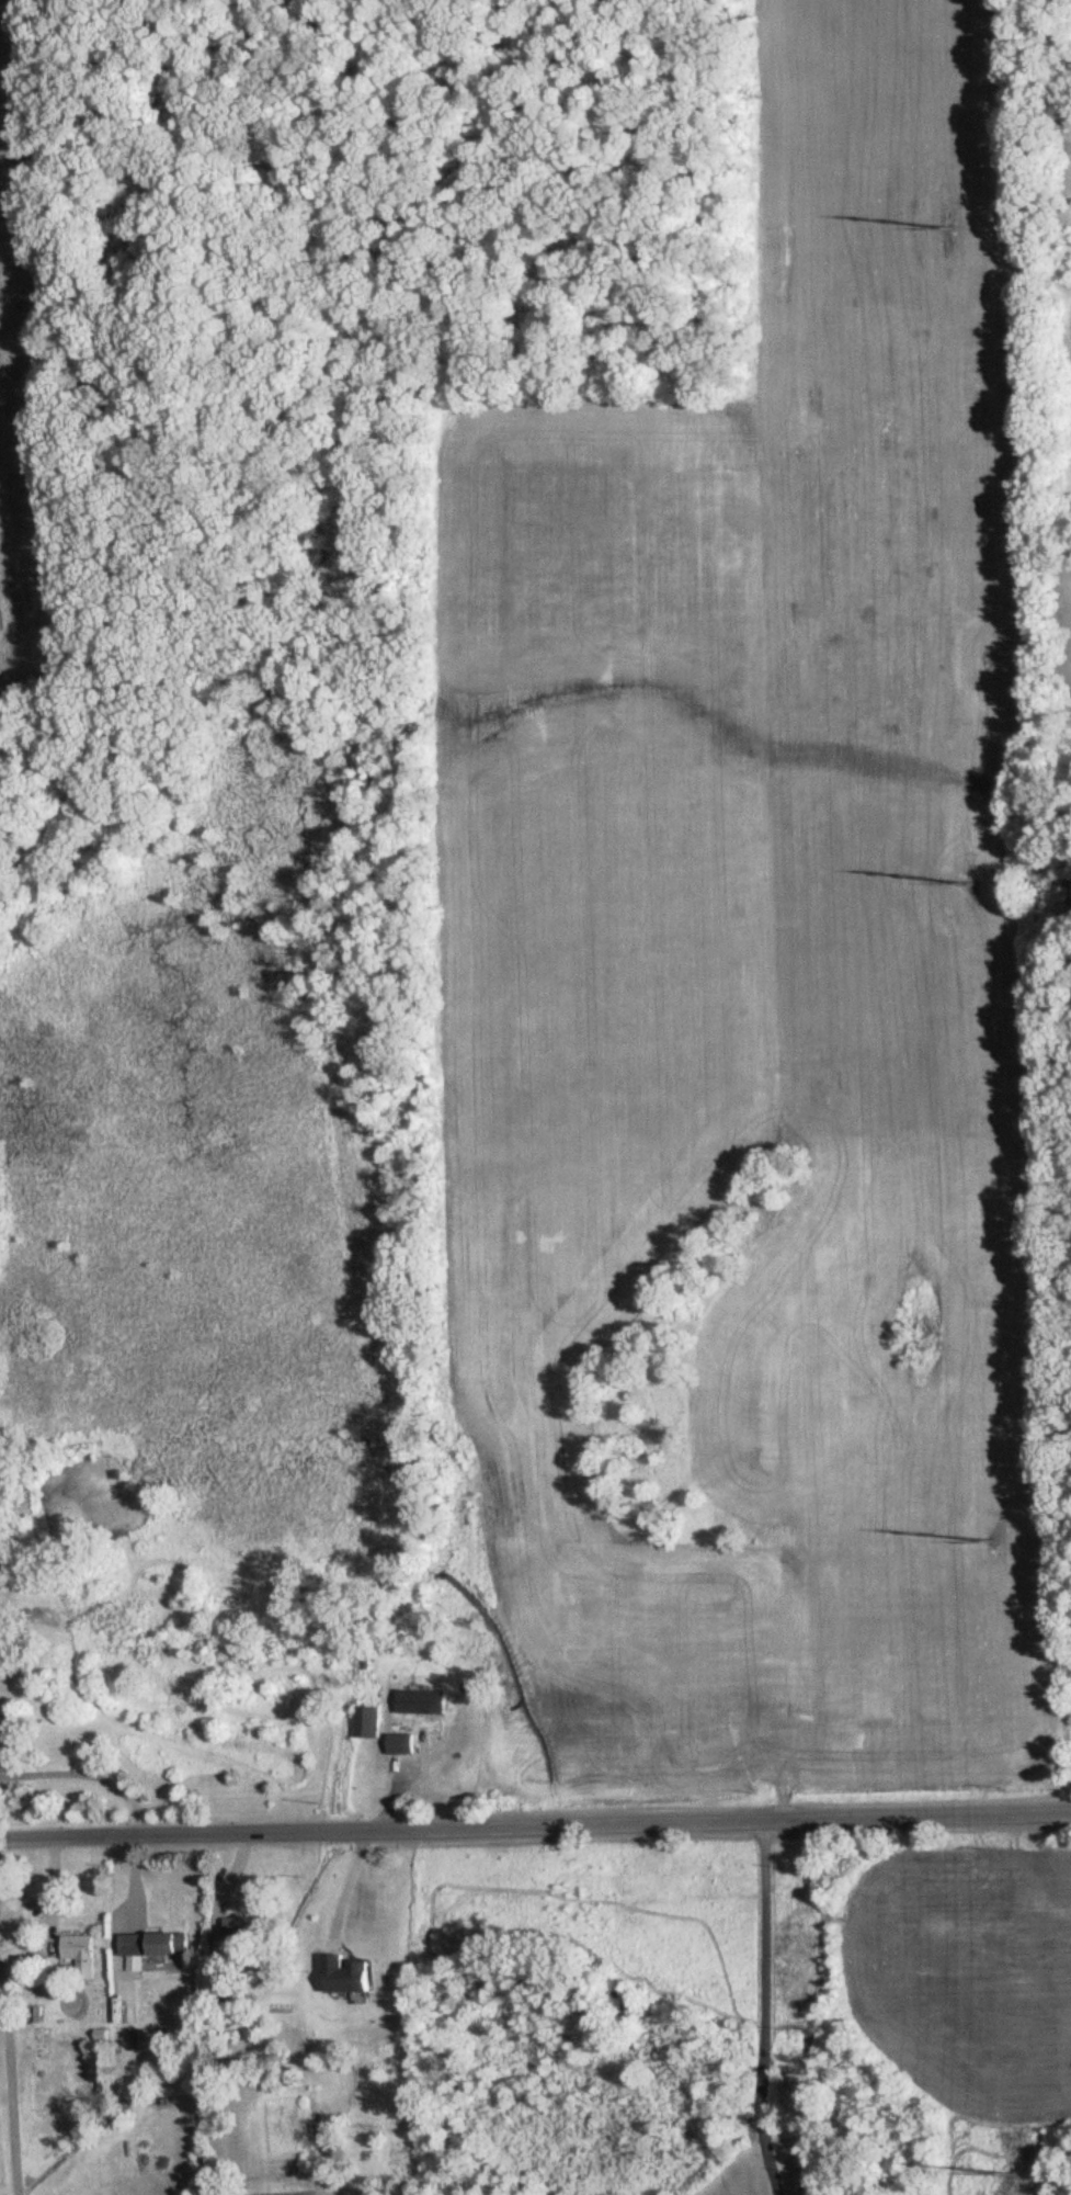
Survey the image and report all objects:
power tower: (953, 228)
power tower: (973, 884)
power tower: (990, 1541)
building: (420, 1700)
building: (366, 1721)
building: (400, 1743)
road: (88, 1769)
road: (535, 1820)
road: (347, 1880)
building: (240, 1926)
building: (79, 1953)
building: (343, 1973)
road: (766, 2006)
building: (140, 2038)
road: (7, 2105)
power tower: (1011, 2172)

